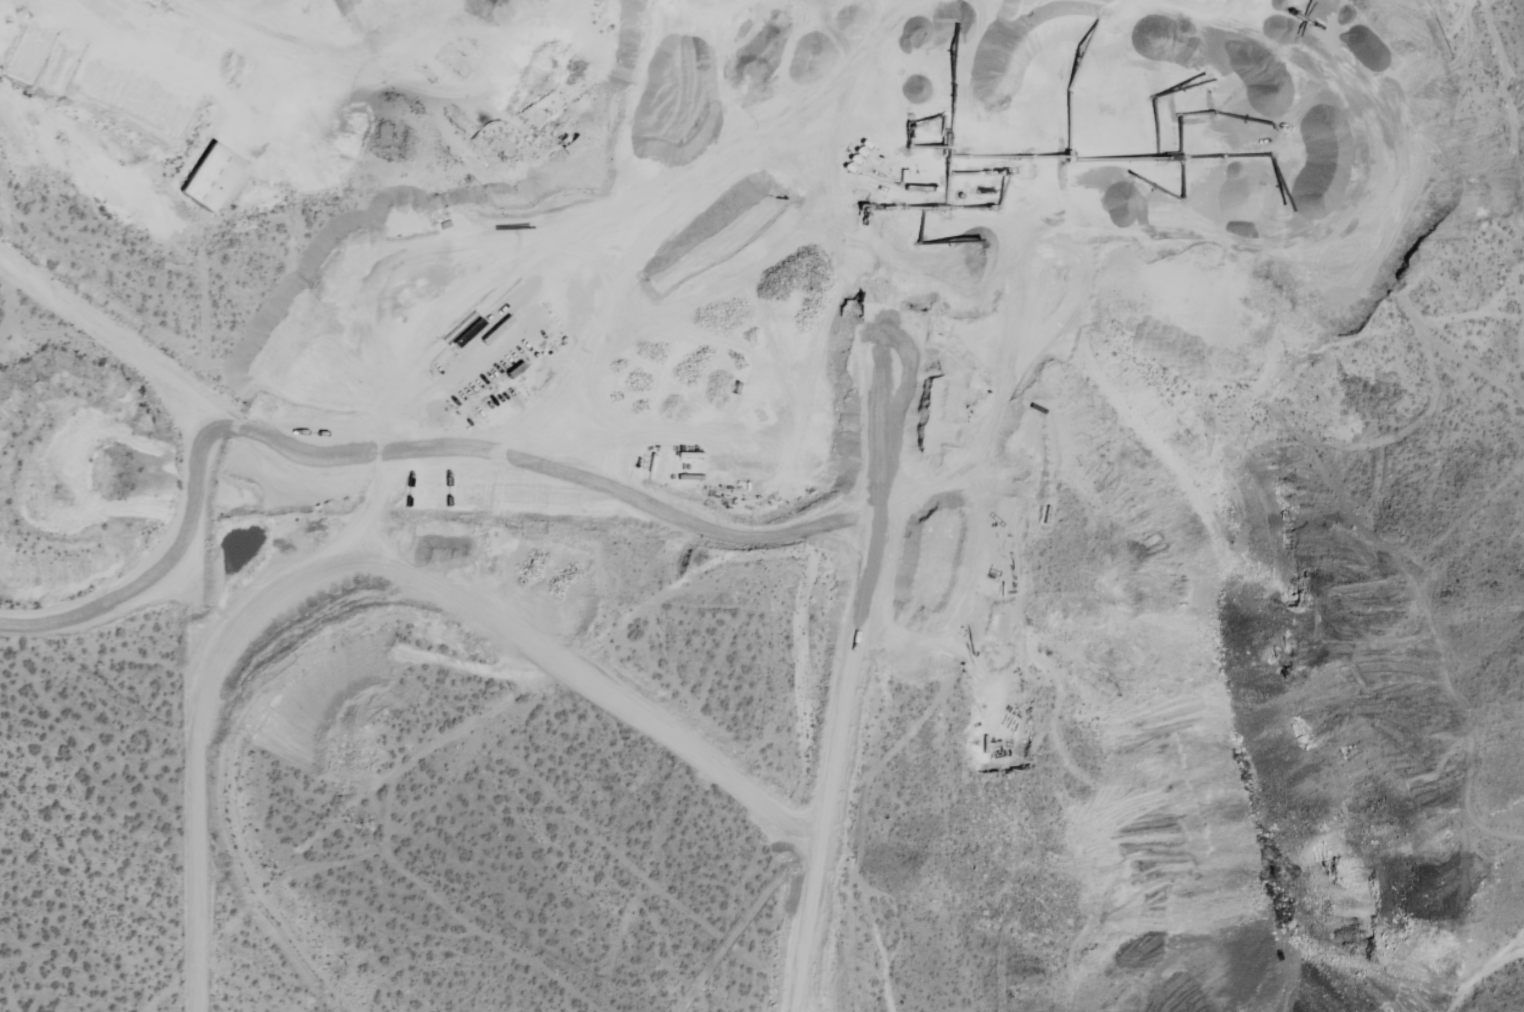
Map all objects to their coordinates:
building: (210, 177)
road: (172, 385)
quarry: (858, 487)
road: (86, 617)
road: (190, 775)

